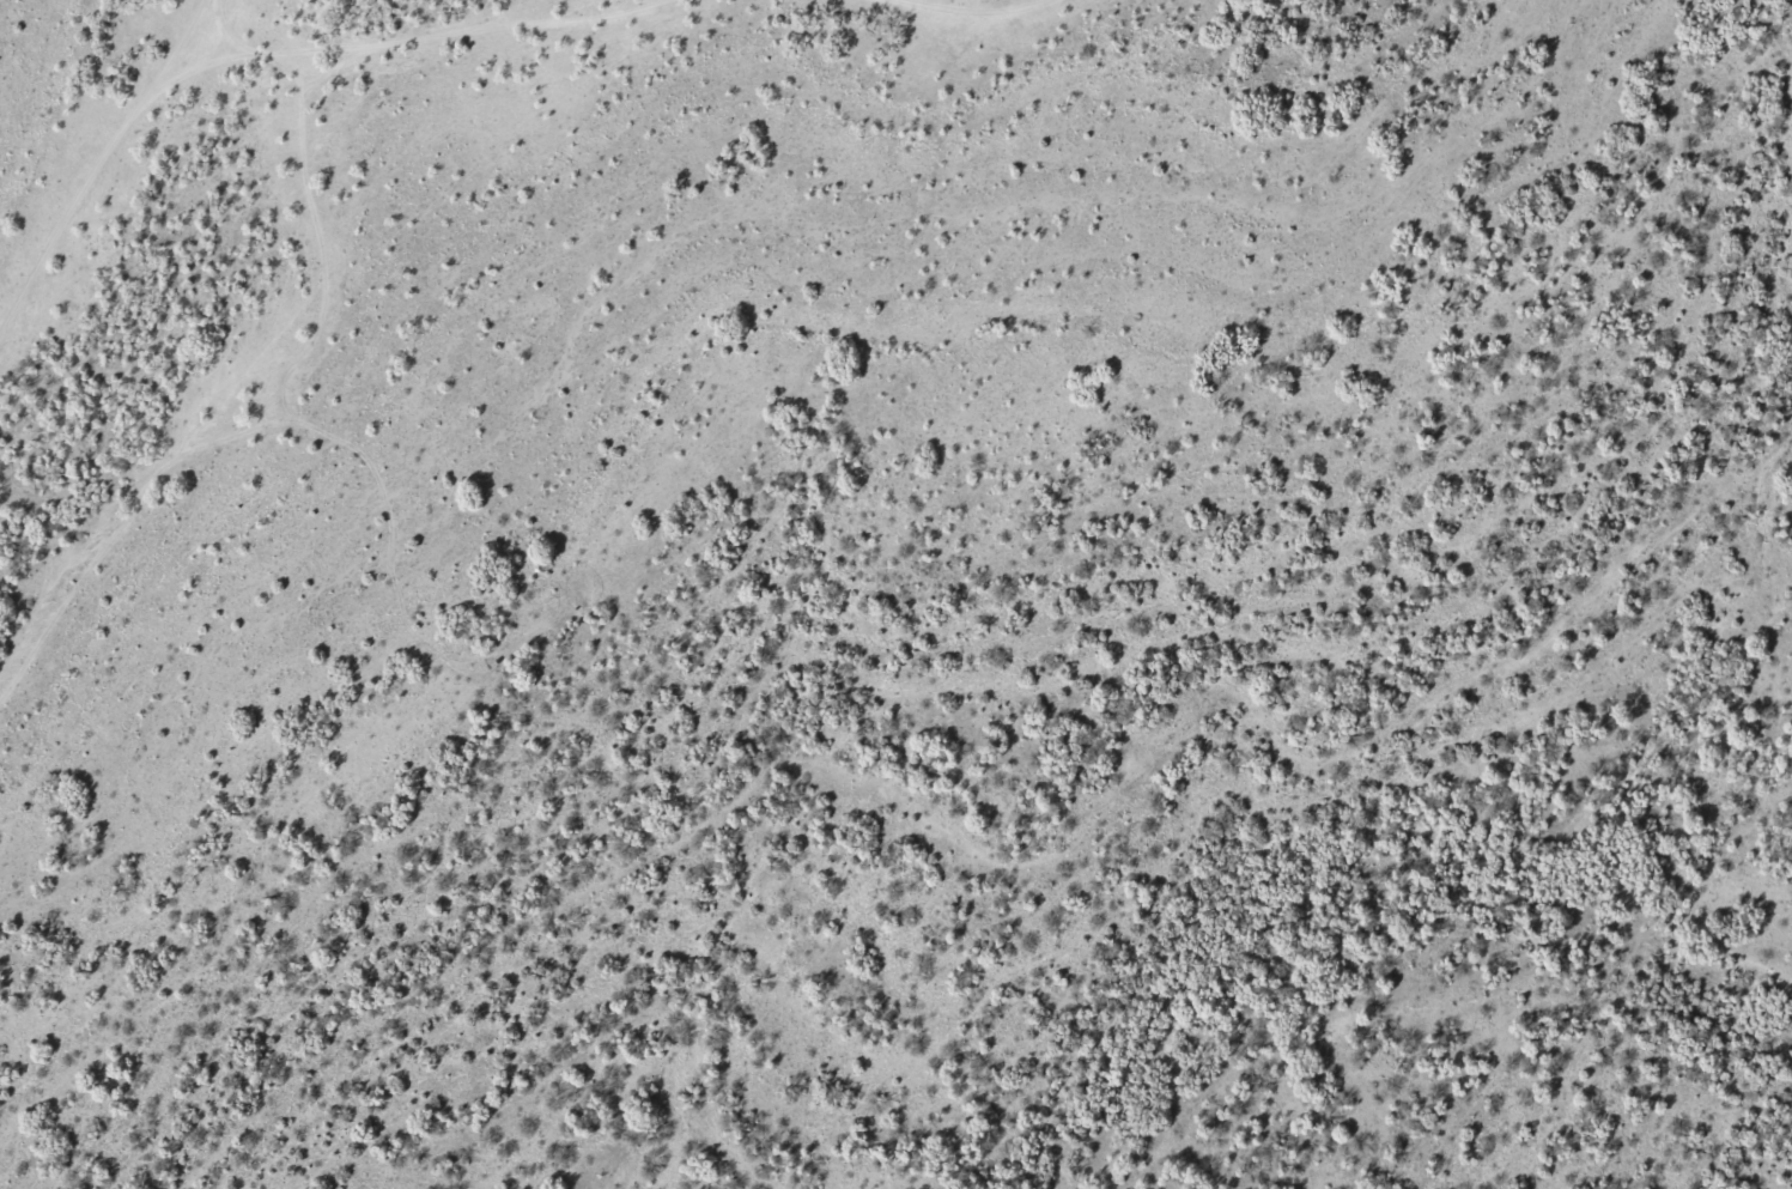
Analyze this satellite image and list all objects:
road: (493, 34)
road: (107, 152)

